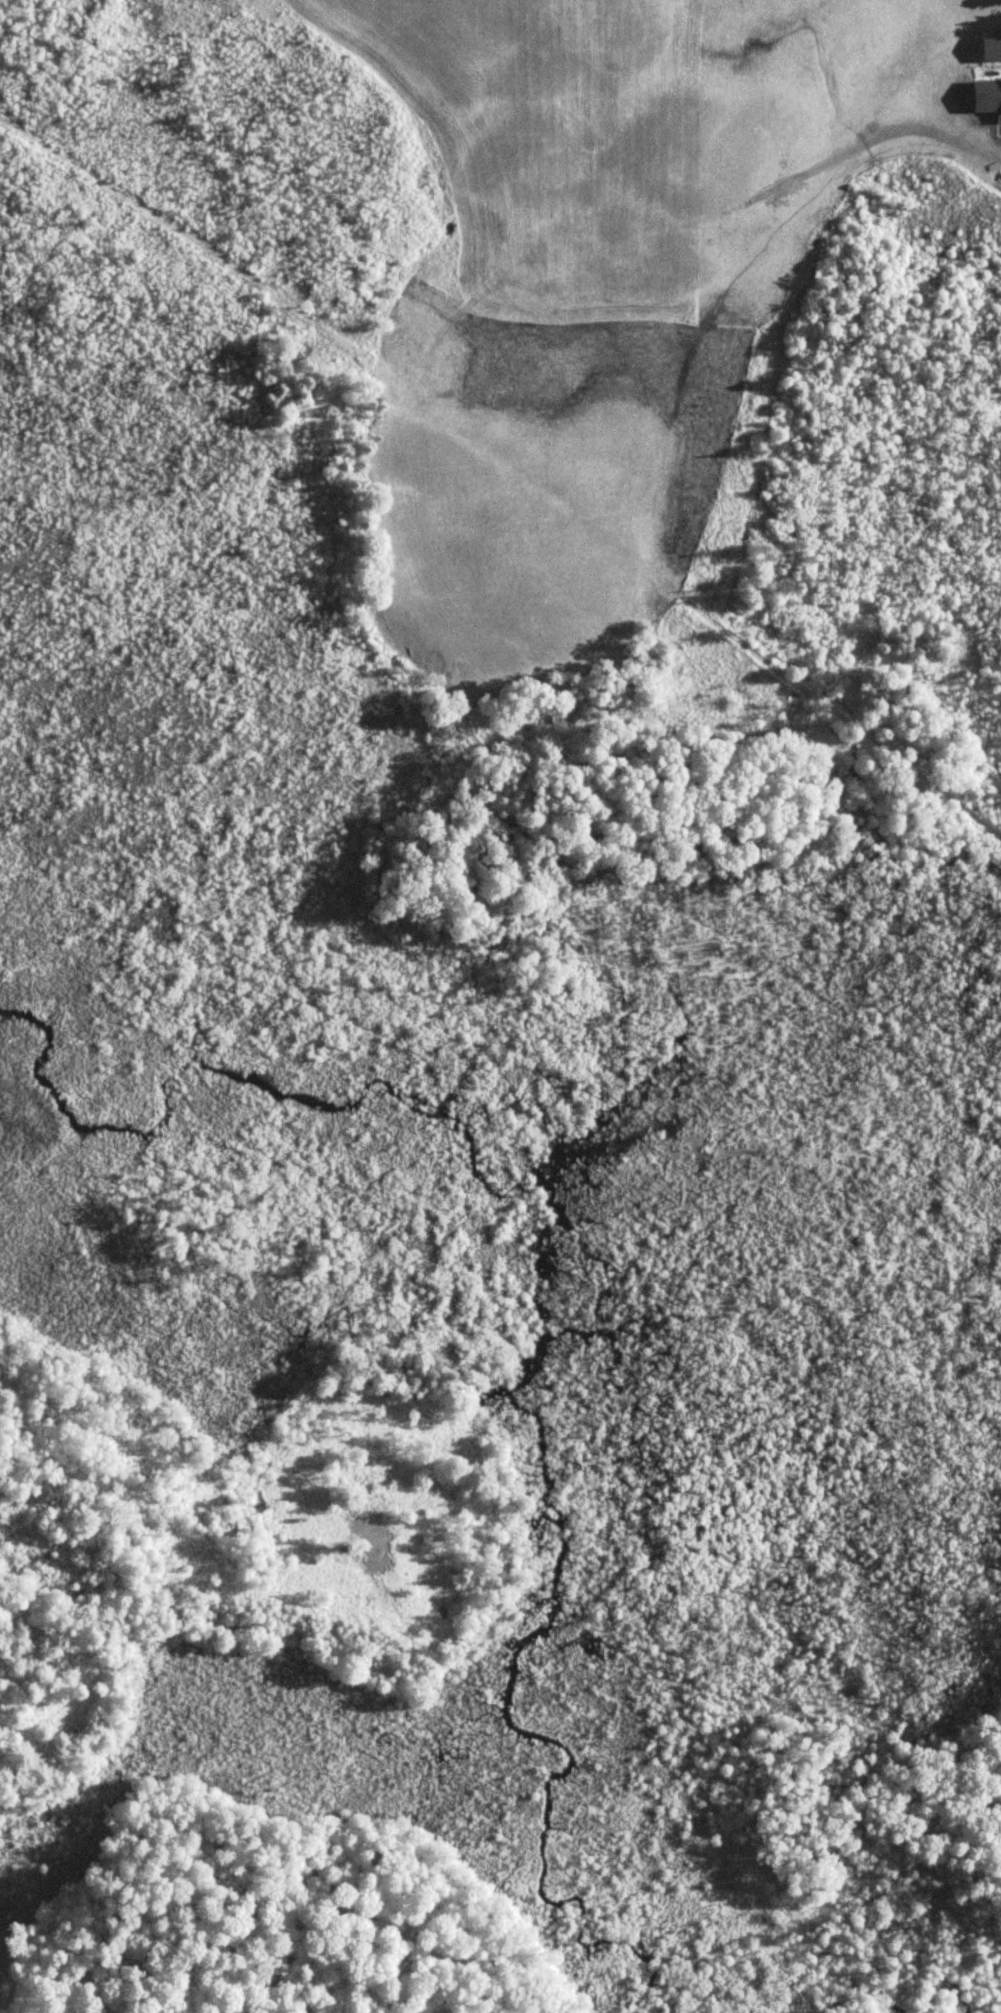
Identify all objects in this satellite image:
building: (993, 48)
building: (988, 96)

